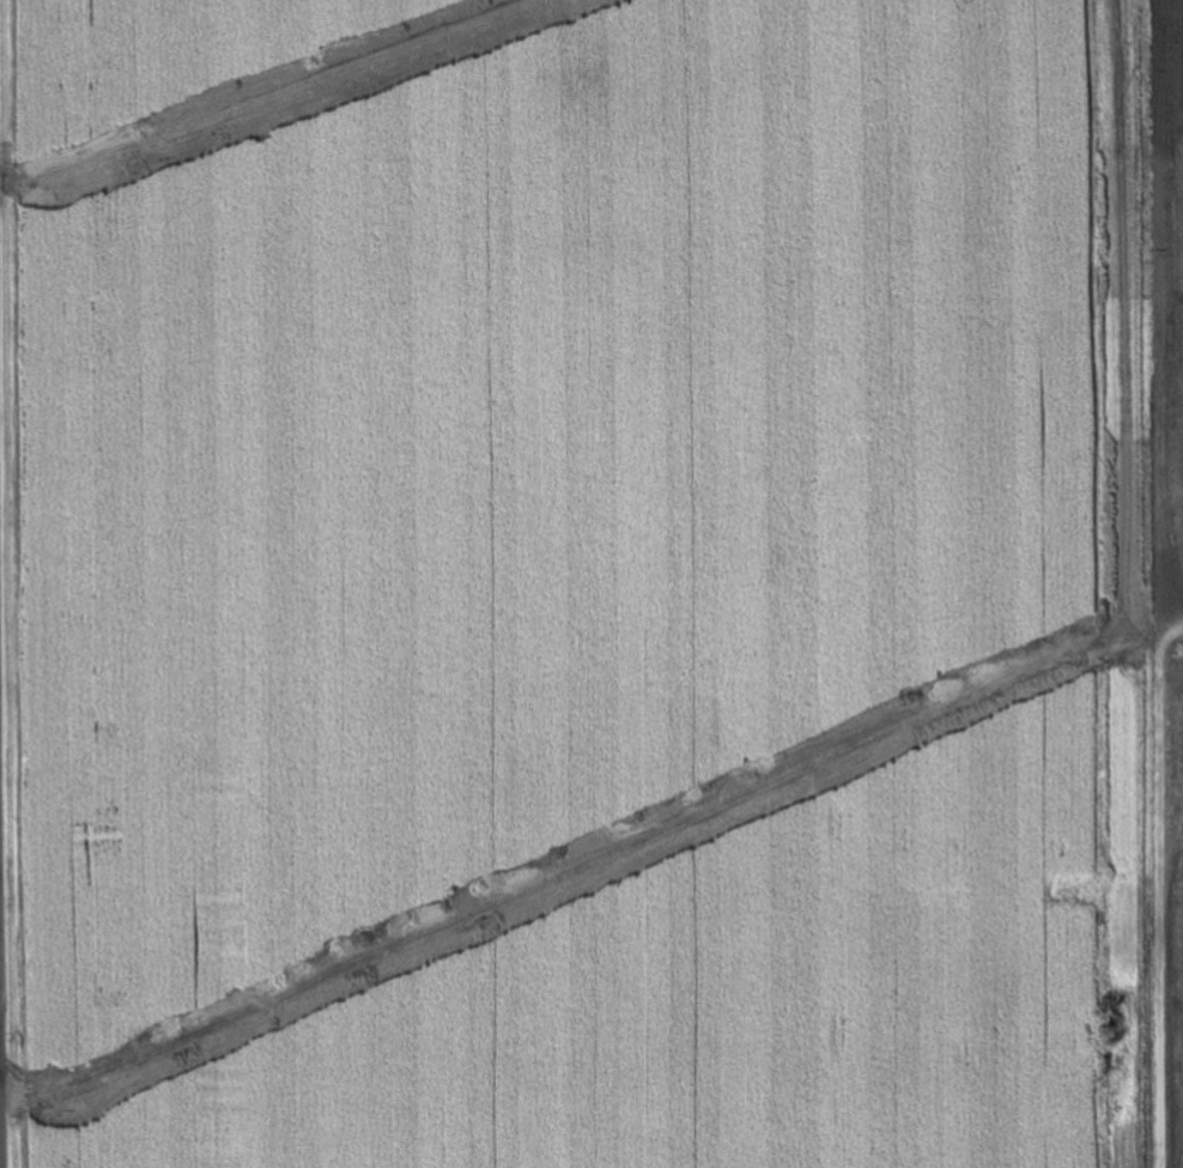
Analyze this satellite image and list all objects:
road: (1, 174)
road: (4, 350)

